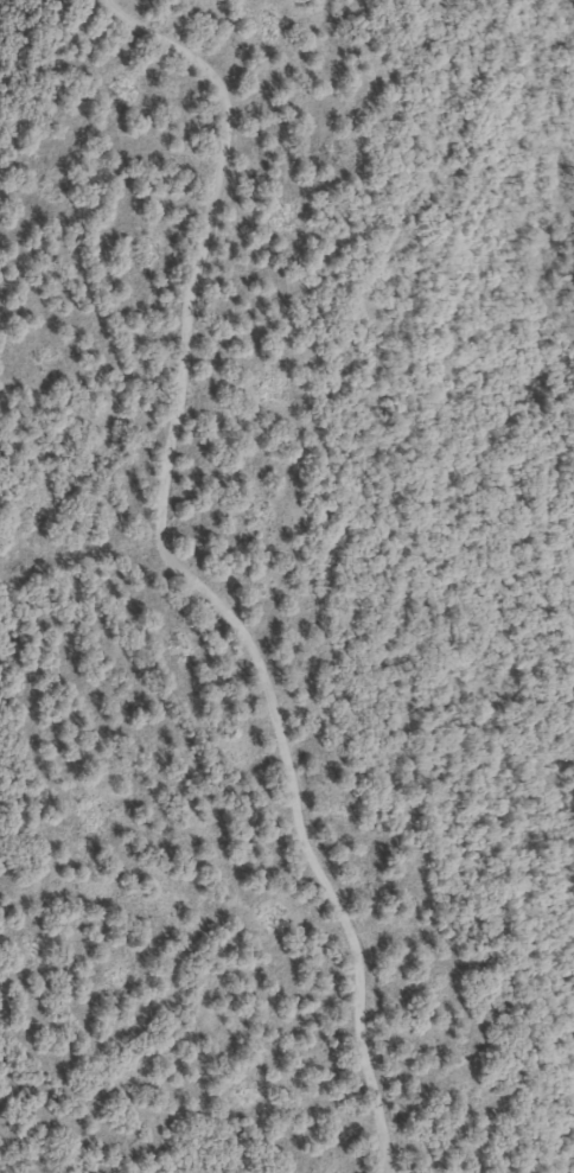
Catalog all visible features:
road: (189, 572)

